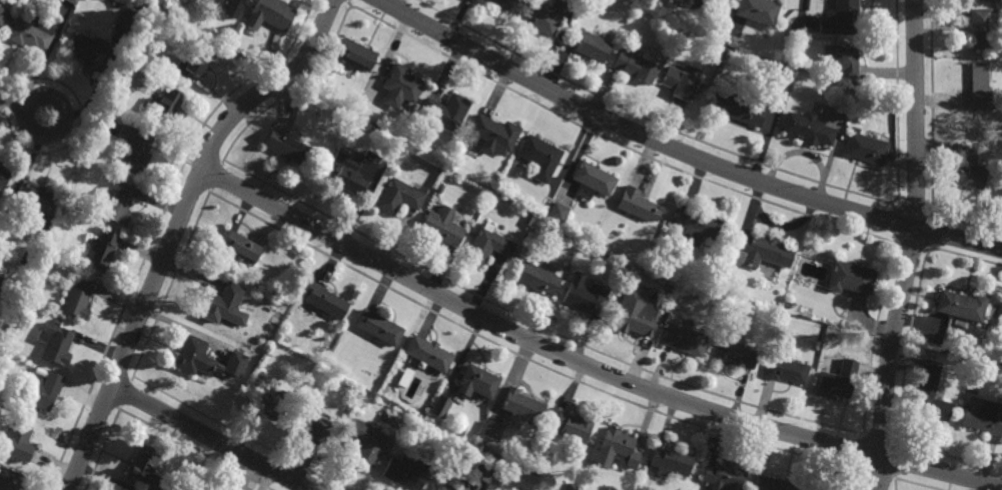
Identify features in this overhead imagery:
building: (186, 0)
building: (981, 0)
building: (74, 2)
building: (151, 2)
building: (237, 2)
road: (389, 2)
building: (631, 2)
building: (501, 3)
building: (638, 7)
building: (758, 10)
building: (271, 14)
building: (4, 17)
building: (539, 18)
building: (841, 18)
building: (125, 20)
building: (983, 28)
building: (33, 33)
building: (681, 35)
building: (589, 45)
building: (254, 50)
building: (91, 51)
building: (356, 55)
building: (840, 59)
building: (198, 62)
building: (634, 67)
building: (132, 72)
building: (681, 82)
building: (400, 86)
building: (819, 86)
building: (980, 86)
road: (13, 99)
building: (165, 106)
building: (738, 108)
building: (358, 111)
building: (445, 111)
building: (858, 112)
road: (25, 116)
building: (809, 127)
building: (492, 135)
building: (285, 146)
building: (135, 149)
building: (867, 149)
road: (679, 151)
building: (540, 157)
building: (0, 163)
building: (964, 170)
building: (356, 174)
building: (4, 177)
building: (592, 180)
building: (440, 188)
building: (400, 196)
building: (37, 203)
building: (120, 205)
building: (636, 205)
building: (557, 213)
building: (696, 224)
road: (178, 227)
building: (526, 227)
building: (442, 228)
building: (587, 232)
building: (488, 246)
road: (912, 246)
building: (240, 247)
building: (762, 250)
building: (102, 253)
building: (31, 262)
building: (41, 275)
building: (850, 278)
building: (536, 279)
building: (4, 289)
building: (584, 298)
building: (78, 301)
building: (323, 301)
building: (222, 303)
building: (791, 305)
building: (961, 307)
building: (634, 321)
building: (1001, 327)
building: (379, 328)
building: (918, 336)
building: (684, 340)
building: (56, 341)
building: (427, 354)
building: (733, 355)
building: (195, 356)
road: (587, 366)
building: (786, 368)
building: (258, 373)
building: (838, 379)
building: (478, 380)
building: (39, 390)
building: (930, 392)
building: (268, 401)
building: (522, 404)
building: (441, 406)
building: (983, 415)
building: (572, 425)
building: (314, 426)
building: (492, 430)
road: (209, 437)
building: (17, 441)
building: (367, 442)
building: (480, 443)
building: (619, 446)
building: (441, 448)
building: (670, 460)
building: (144, 461)
building: (406, 471)
building: (483, 472)
building: (723, 475)
building: (9, 478)
building: (771, 484)
building: (444, 486)
building: (812, 488)

